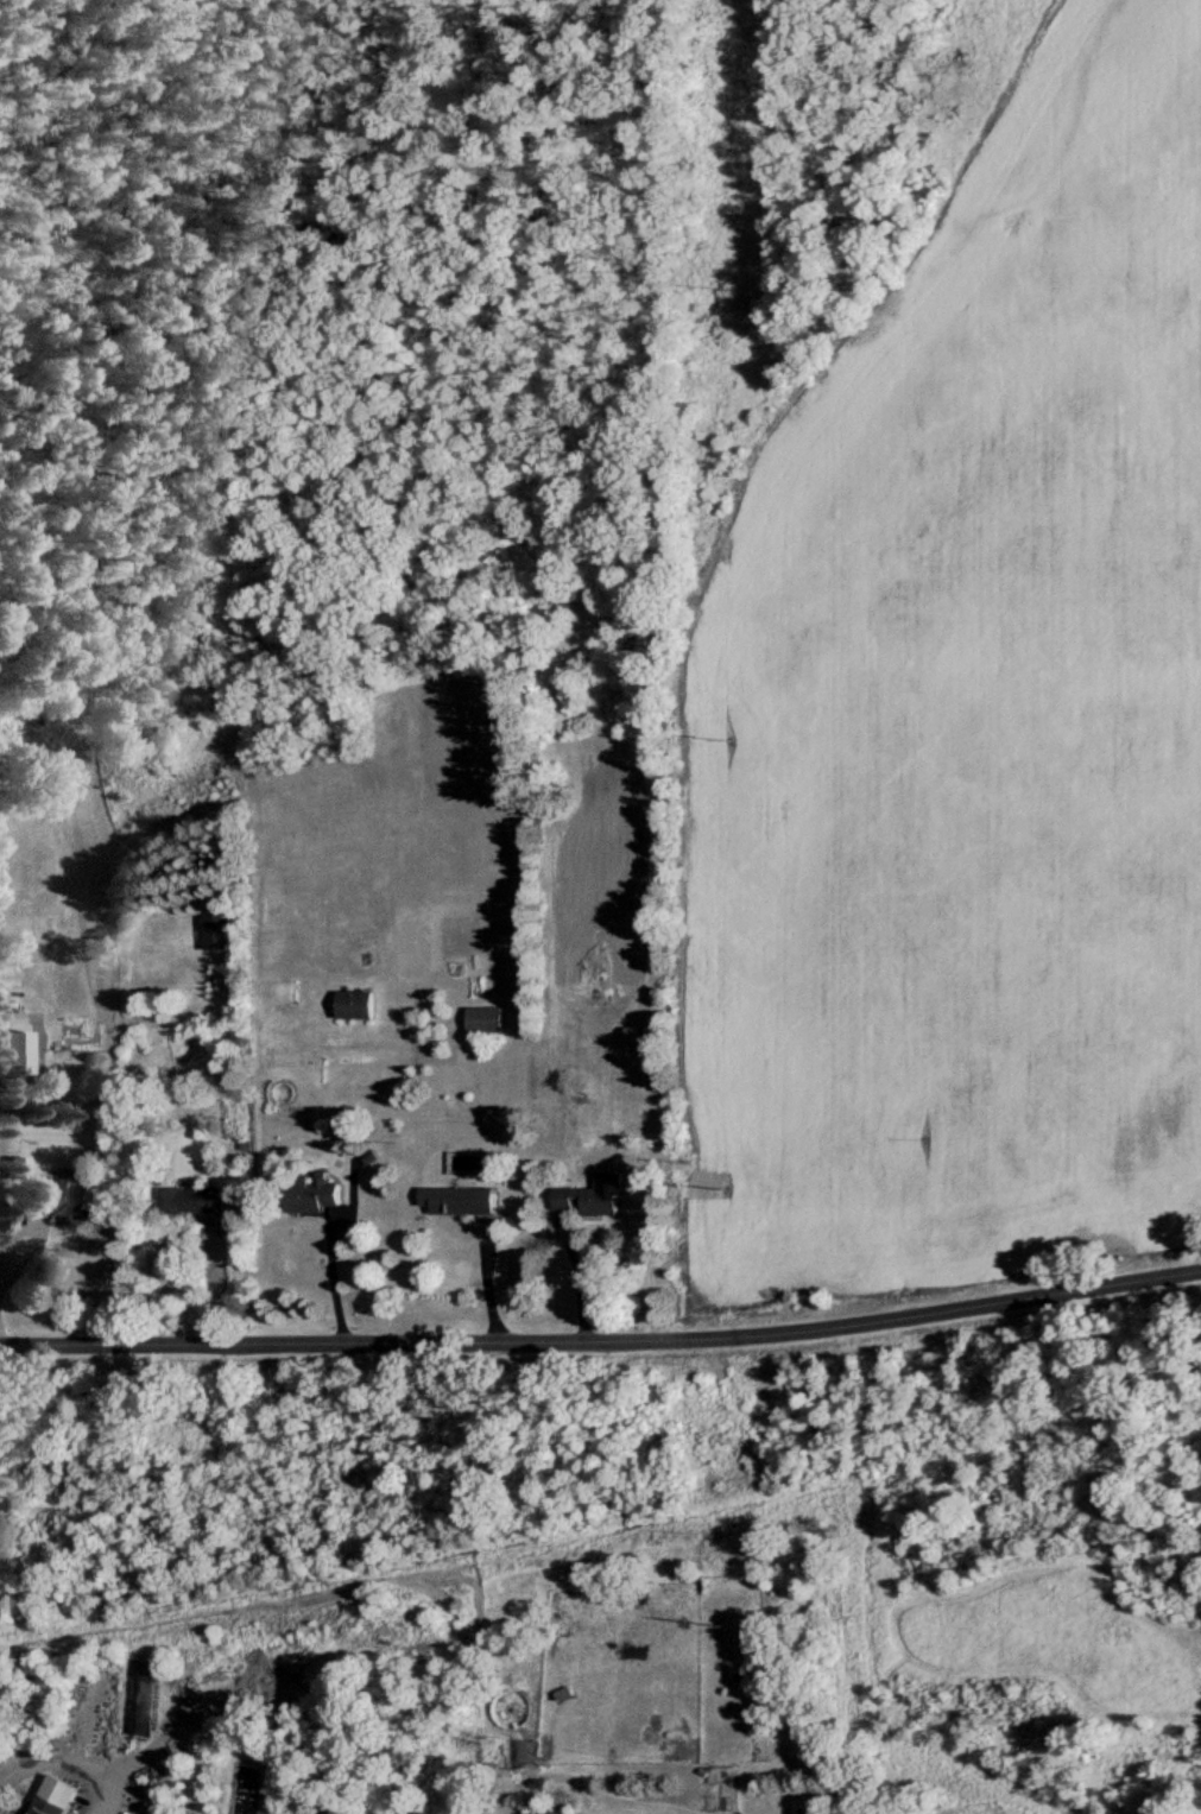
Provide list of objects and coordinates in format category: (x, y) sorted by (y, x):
building: (354, 1004)
building: (485, 1018)
building: (639, 1037)
building: (310, 1192)
building: (57, 1196)
building: (587, 1197)
building: (456, 1199)
building: (192, 1200)
road: (12, 1237)
road: (336, 1272)
road: (581, 1278)
road: (216, 1279)
road: (487, 1279)
road: (602, 1340)
building: (140, 1696)
road: (64, 1758)
building: (52, 1796)

